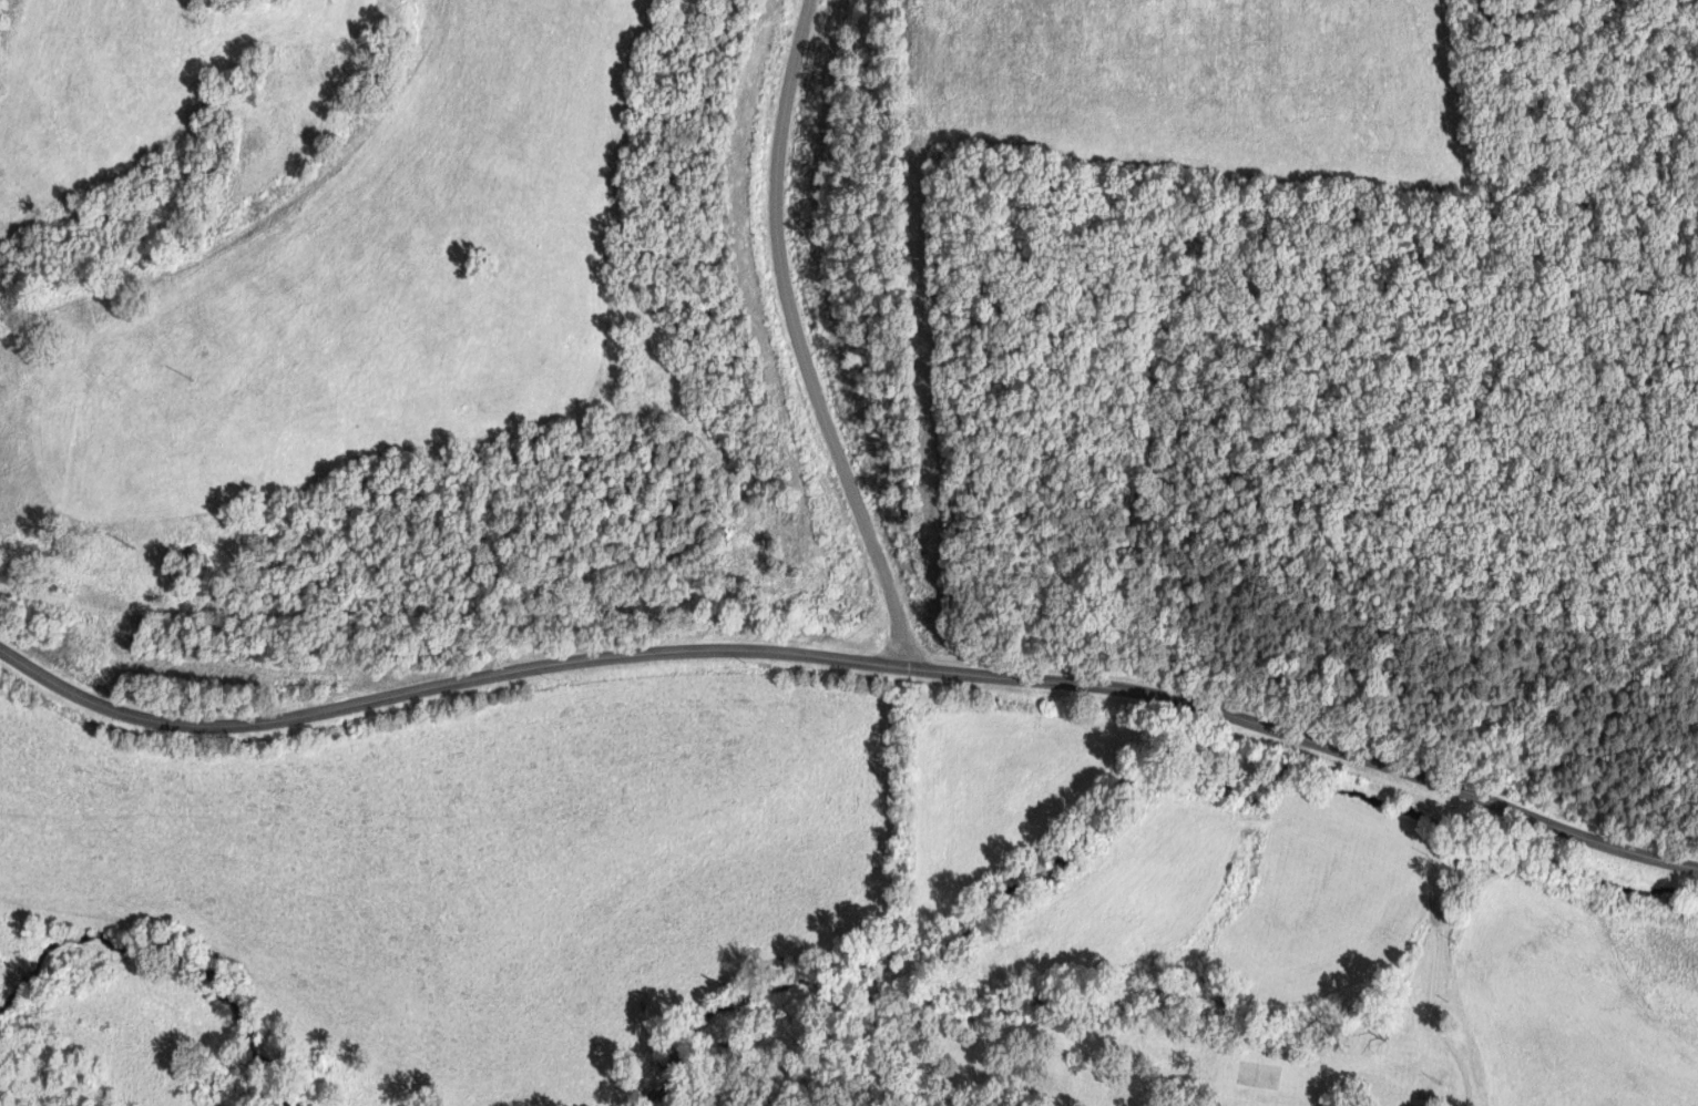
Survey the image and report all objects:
road: (791, 324)
road: (850, 653)
road: (1438, 948)

